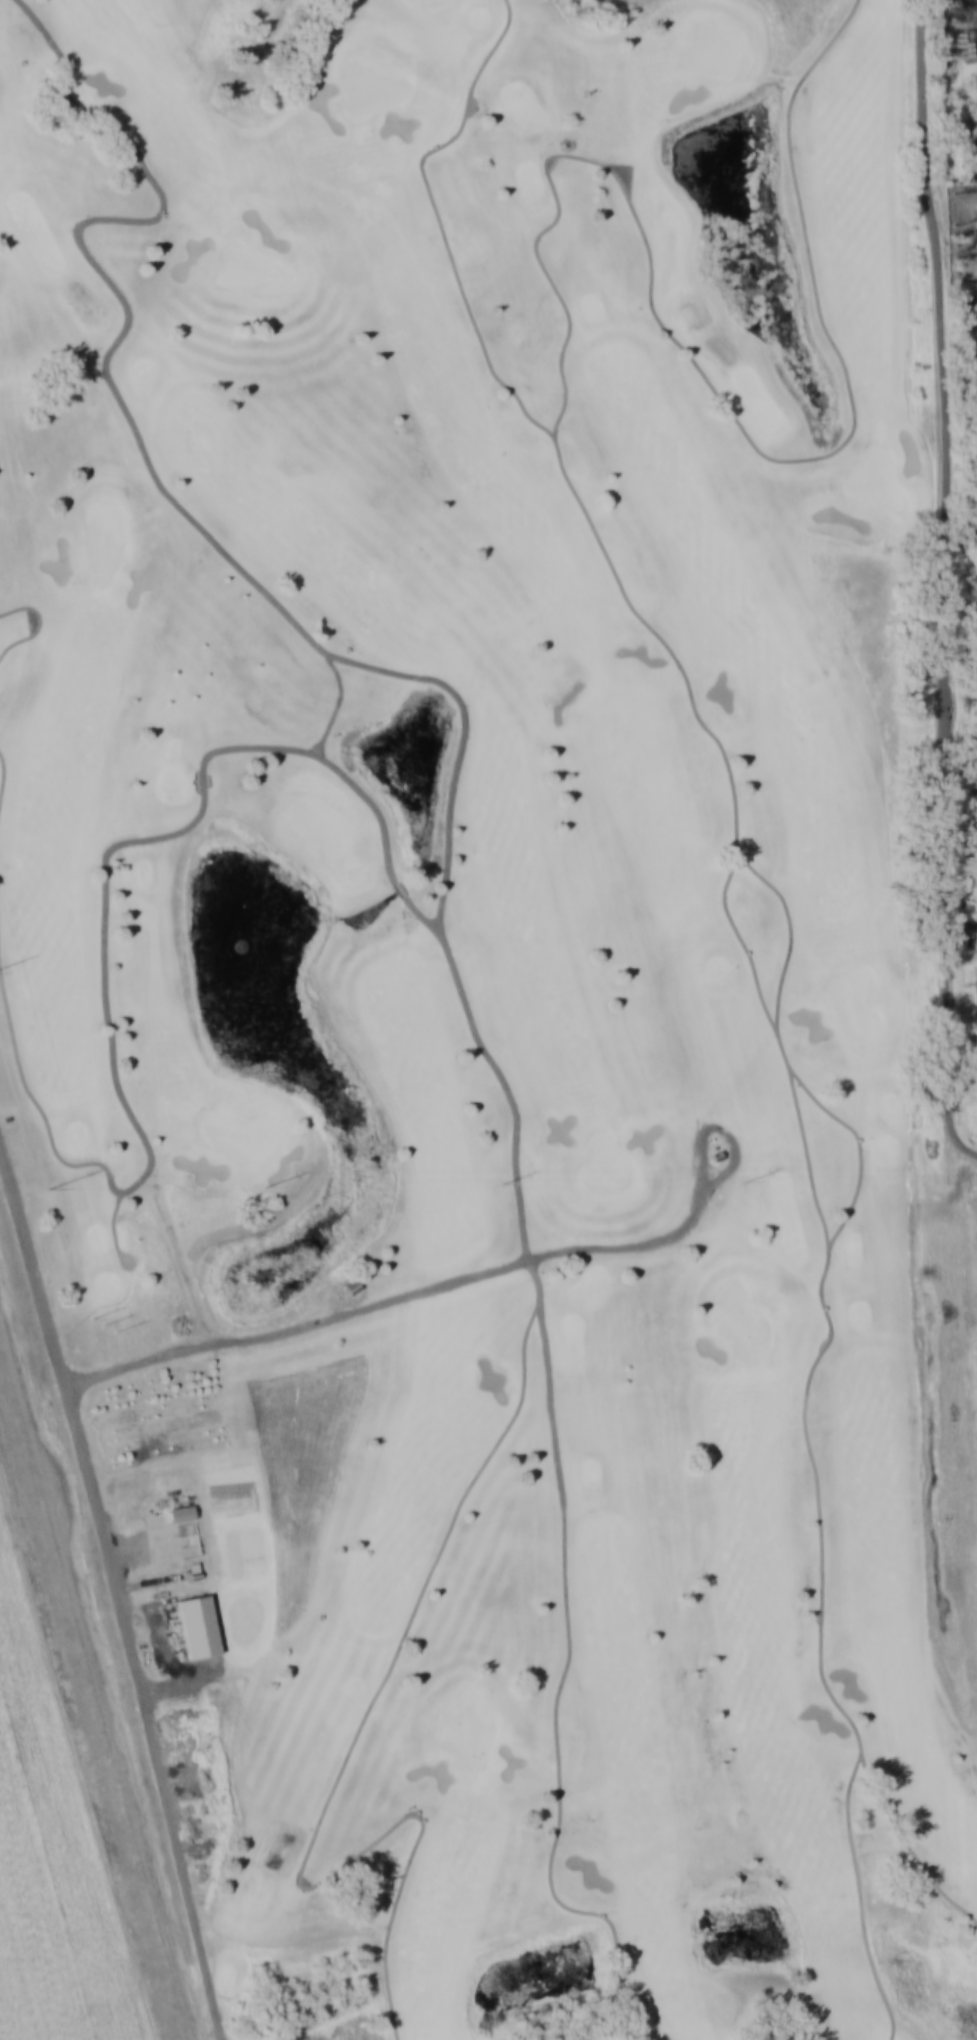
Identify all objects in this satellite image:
road: (122, 403)
road: (726, 405)
road: (937, 584)
road: (646, 624)
road: (40, 628)
road: (5, 778)
road: (445, 860)
road: (400, 887)
road: (105, 892)
road: (790, 943)
park: (498, 991)
road: (36, 1102)
road: (859, 1136)
building: (713, 1147)
road: (705, 1200)
road: (540, 1274)
road: (490, 1279)
power tower: (110, 1322)
road: (817, 1368)
building: (180, 1512)
road: (116, 1588)
building: (198, 1625)
road: (97, 1684)
road: (560, 1690)
road: (76, 1748)
road: (348, 1760)
road: (910, 1847)
road: (862, 1901)

